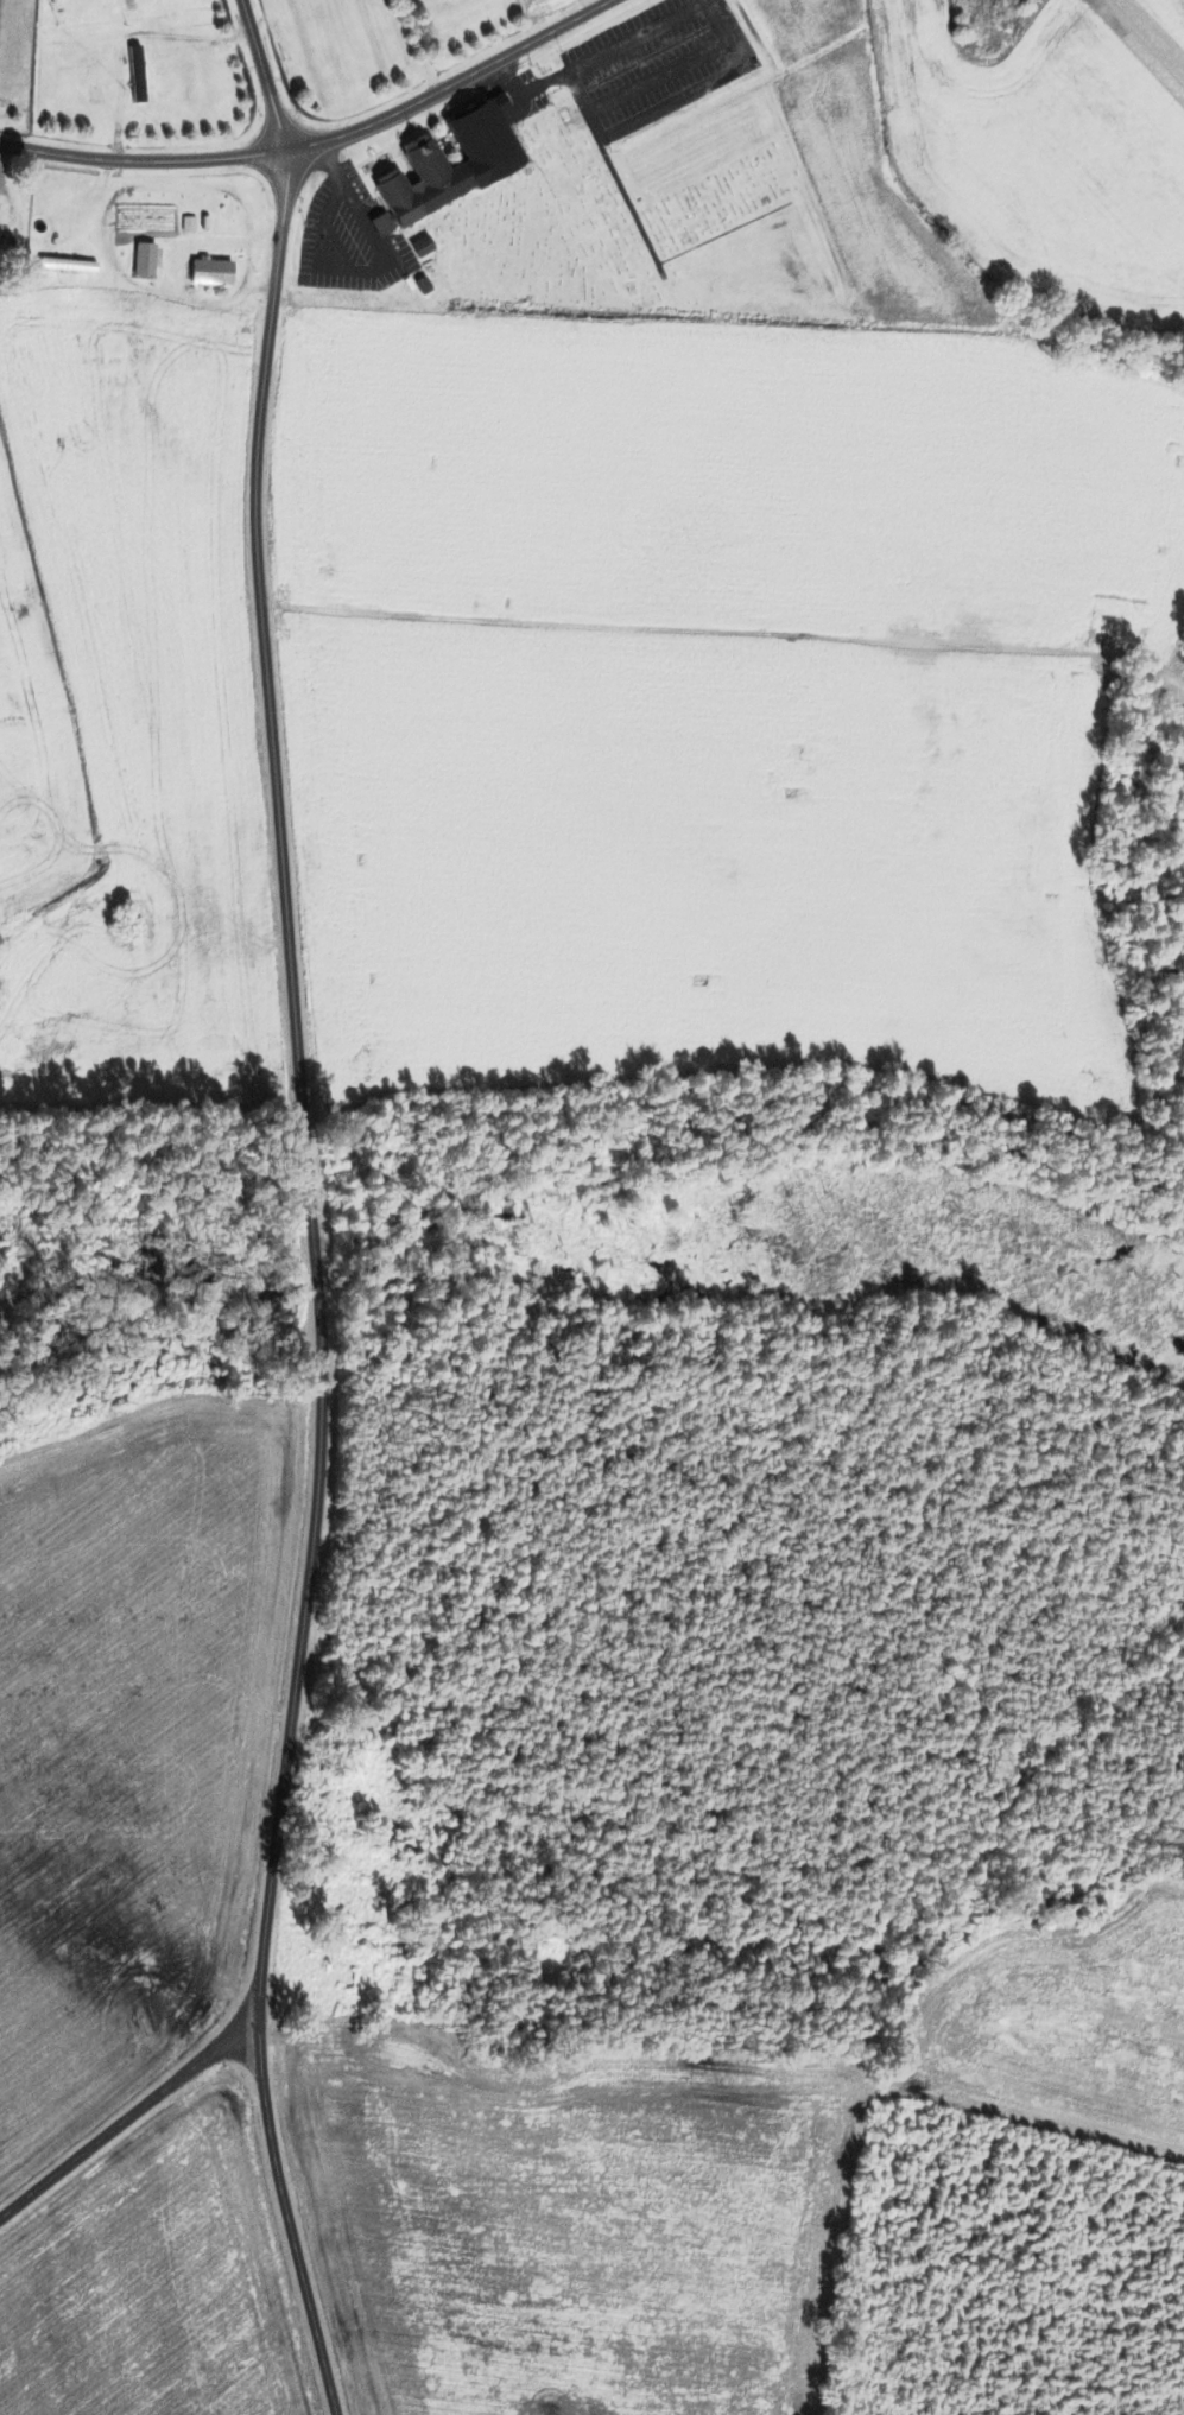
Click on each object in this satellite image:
building: (59, 0)
building: (101, 56)
road: (265, 75)
building: (148, 84)
road: (451, 84)
road: (141, 160)
building: (493, 163)
building: (7, 242)
building: (423, 246)
building: (144, 259)
building: (70, 267)
building: (211, 272)
building: (627, 549)
building: (621, 602)
road: (300, 1090)
road: (127, 2118)
road: (289, 2223)

